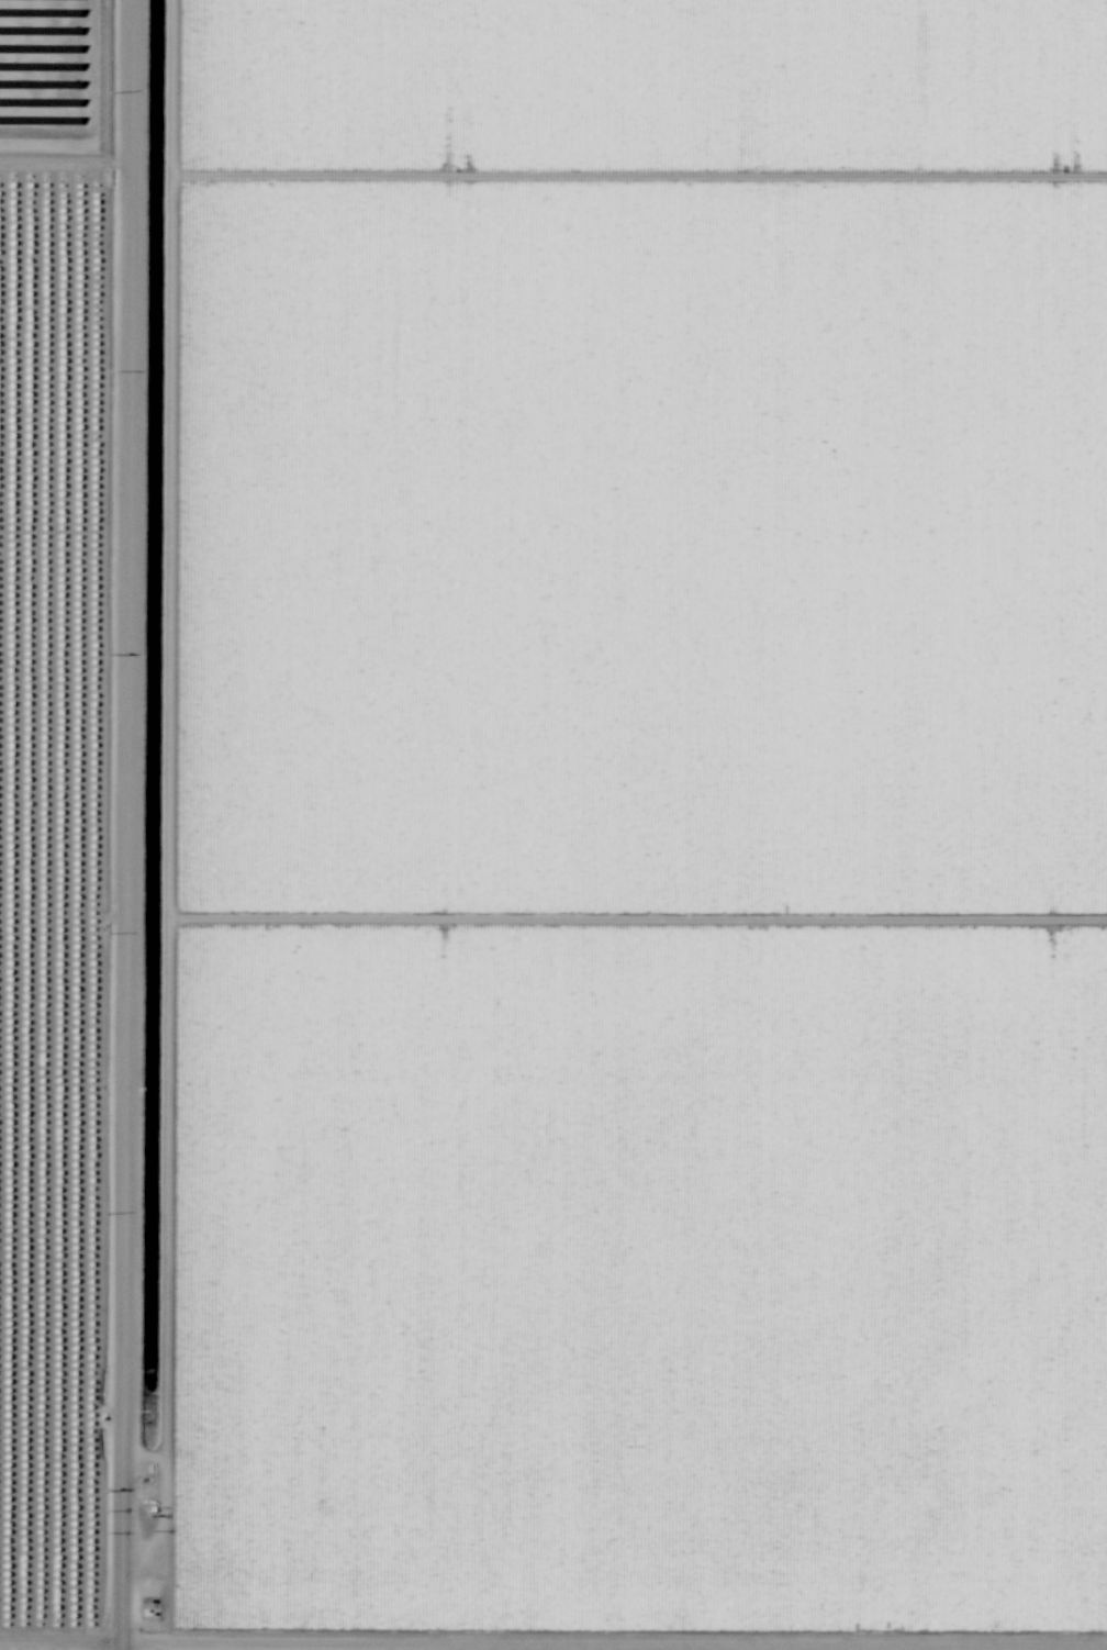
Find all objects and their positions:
crop: (623, 718)
crop: (69, 820)
road: (118, 825)
crop: (622, 1543)

